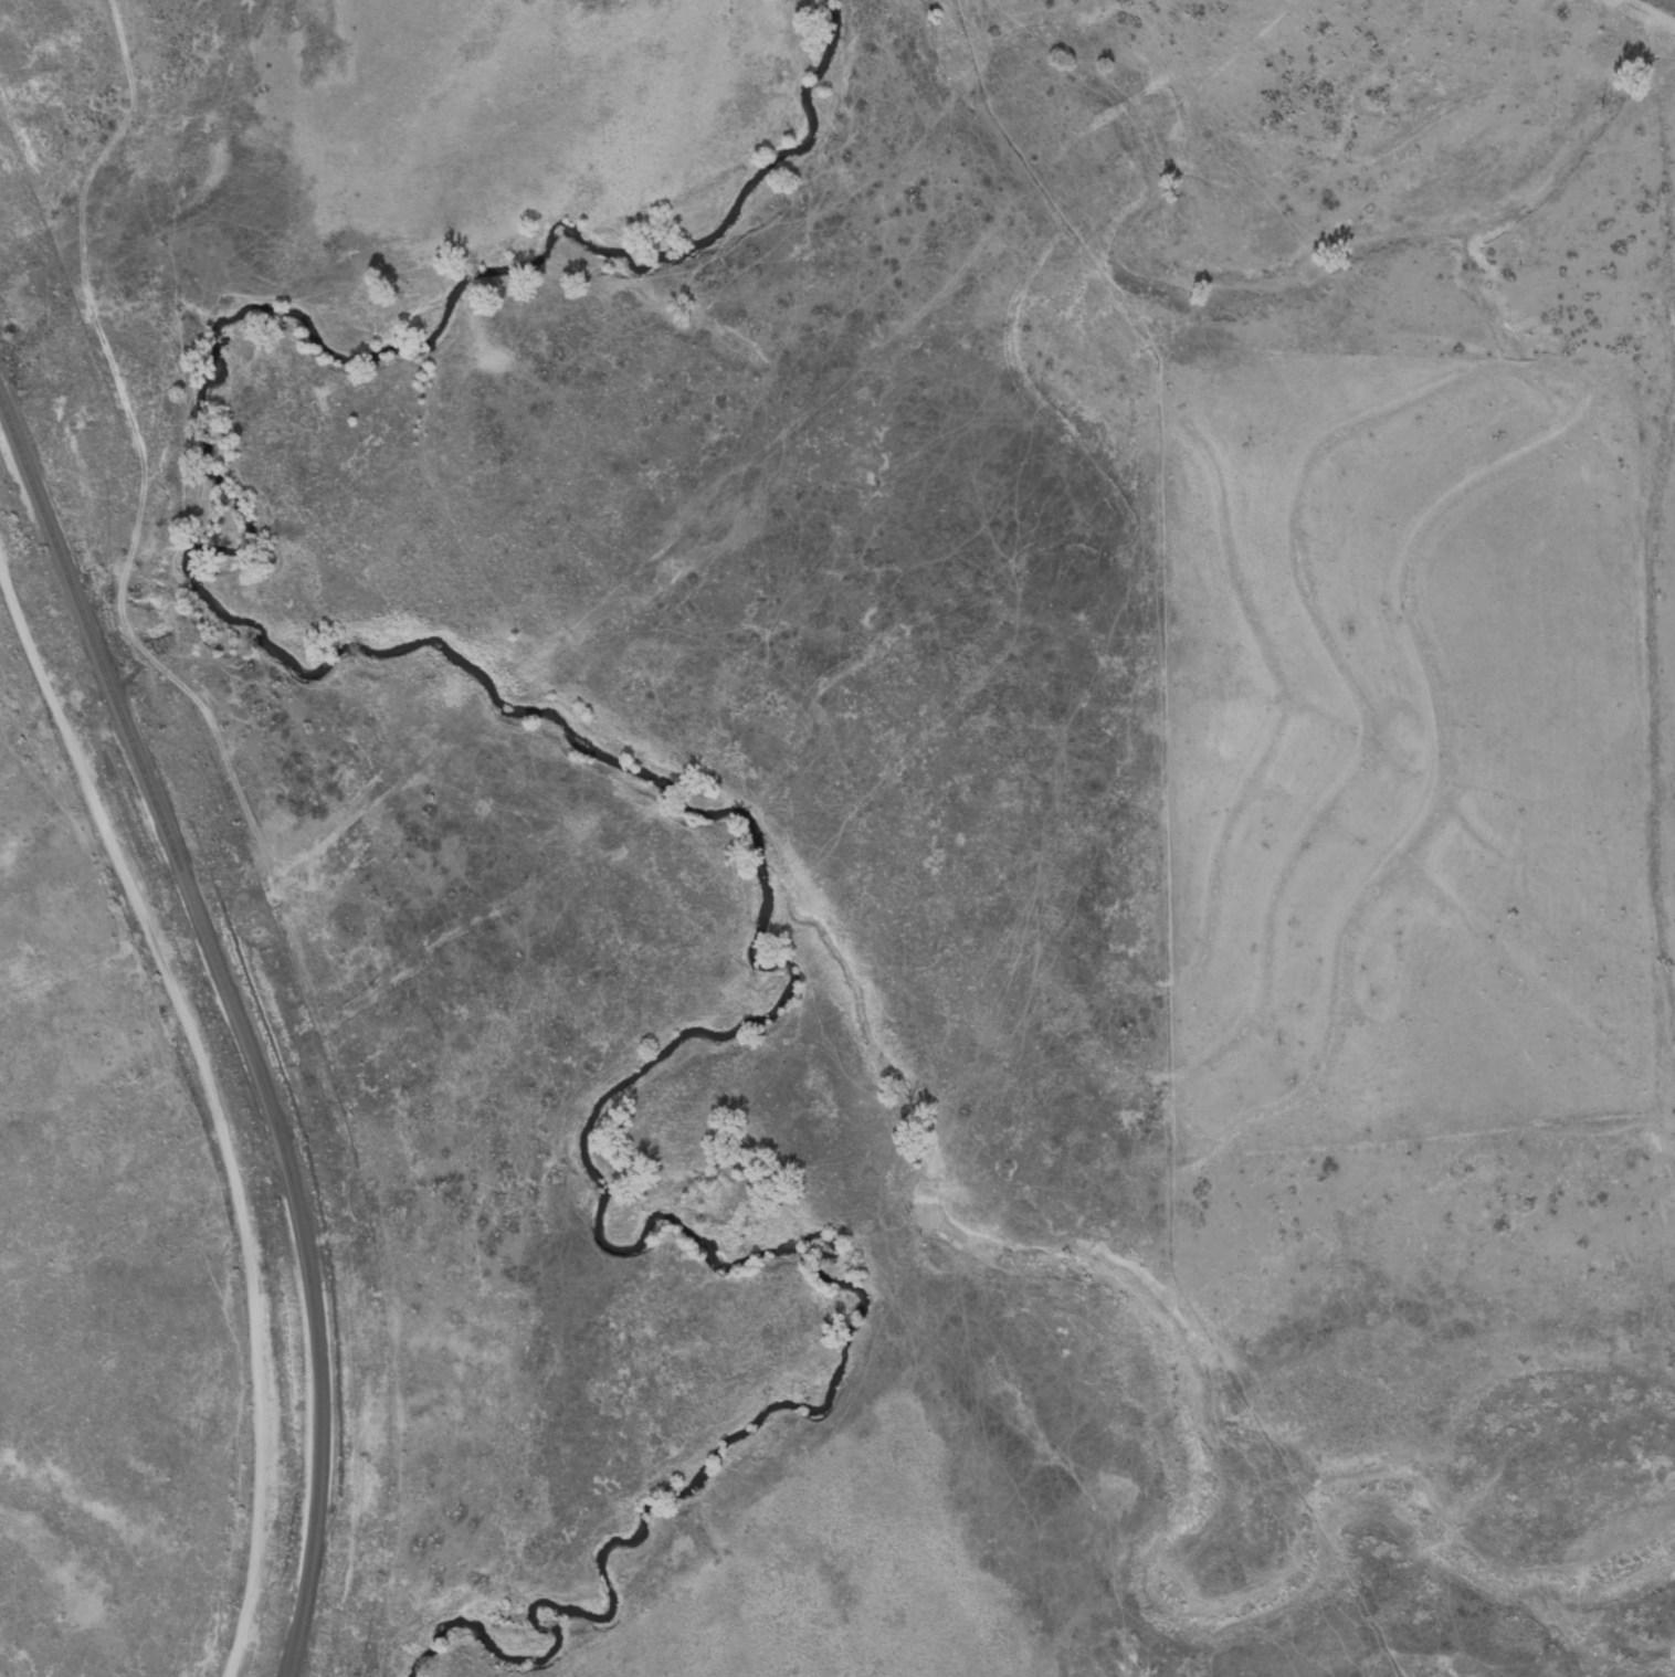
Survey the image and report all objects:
road: (1644, 295)
railway: (125, 723)
road: (1643, 851)
railway: (323, 1363)

